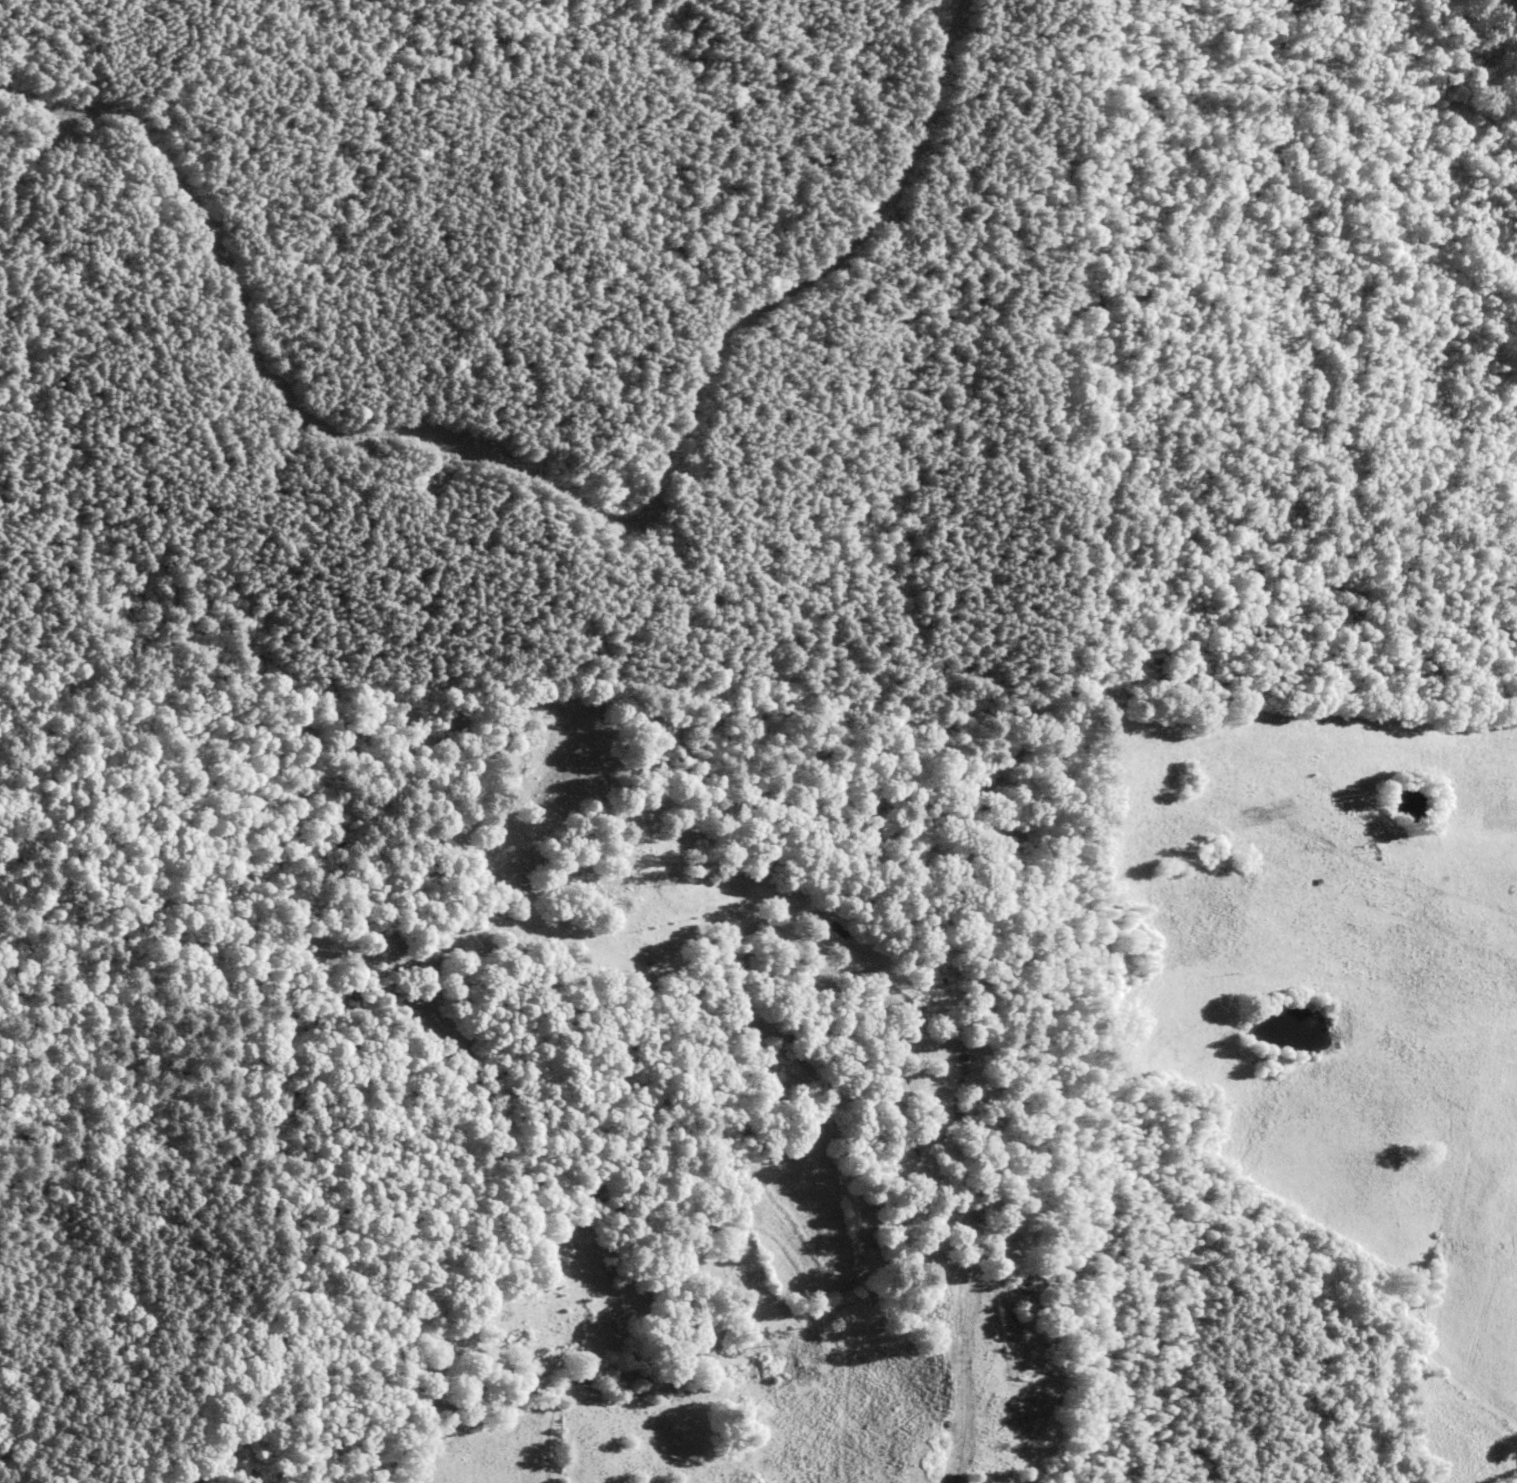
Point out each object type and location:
building: (971, 1202)

